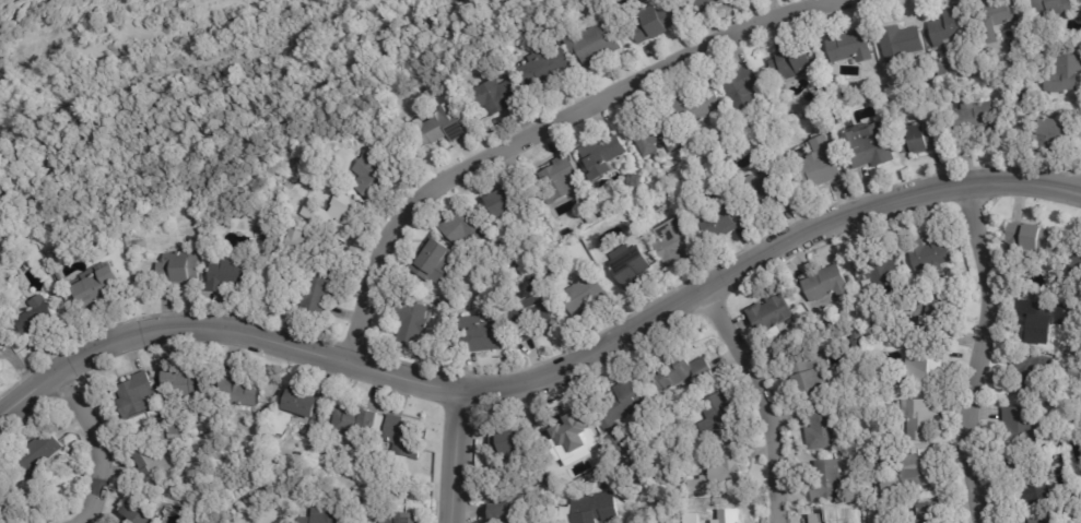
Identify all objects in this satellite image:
building: (709, 5)
building: (1053, 8)
building: (1001, 17)
building: (655, 24)
building: (952, 32)
building: (903, 43)
building: (597, 46)
building: (853, 47)
building: (798, 61)
building: (548, 68)
road: (165, 69)
building: (1066, 74)
building: (744, 87)
building: (827, 87)
park: (214, 92)
building: (500, 98)
road: (238, 100)
building: (701, 107)
building: (983, 118)
road: (547, 124)
building: (443, 127)
building: (1055, 133)
building: (659, 135)
building: (928, 139)
building: (870, 146)
building: (604, 157)
building: (823, 162)
building: (375, 176)
building: (561, 178)
building: (771, 189)
building: (506, 206)
building: (341, 217)
building: (728, 221)
building: (469, 230)
building: (1030, 240)
building: (297, 241)
building: (679, 241)
building: (316, 248)
building: (928, 254)
building: (1076, 257)
building: (521, 261)
road: (762, 261)
building: (436, 262)
building: (180, 266)
building: (632, 269)
building: (873, 270)
building: (231, 274)
building: (62, 277)
building: (267, 283)
building: (99, 286)
building: (824, 286)
building: (486, 289)
building: (319, 294)
building: (588, 295)
building: (449, 313)
building: (766, 317)
building: (38, 318)
building: (1036, 319)
building: (915, 320)
building: (538, 321)
building: (415, 323)
building: (936, 323)
road: (223, 331)
building: (482, 335)
building: (851, 335)
road: (977, 353)
building: (0, 360)
building: (920, 369)
building: (1029, 373)
building: (681, 376)
building: (803, 378)
building: (183, 380)
building: (239, 388)
building: (139, 394)
road: (763, 401)
building: (307, 403)
building: (619, 413)
building: (718, 417)
building: (918, 417)
building: (360, 420)
building: (1017, 427)
building: (819, 429)
building: (646, 430)
building: (569, 433)
building: (404, 436)
building: (518, 440)
road: (97, 442)
building: (40, 452)
building: (841, 457)
road: (455, 459)
building: (152, 465)
building: (912, 468)
building: (724, 473)
building: (822, 482)
building: (1029, 484)
building: (5, 492)
building: (596, 508)
building: (142, 513)
building: (514, 513)
building: (925, 513)
building: (326, 516)
building: (399, 516)
building: (725, 516)
building: (1037, 519)

